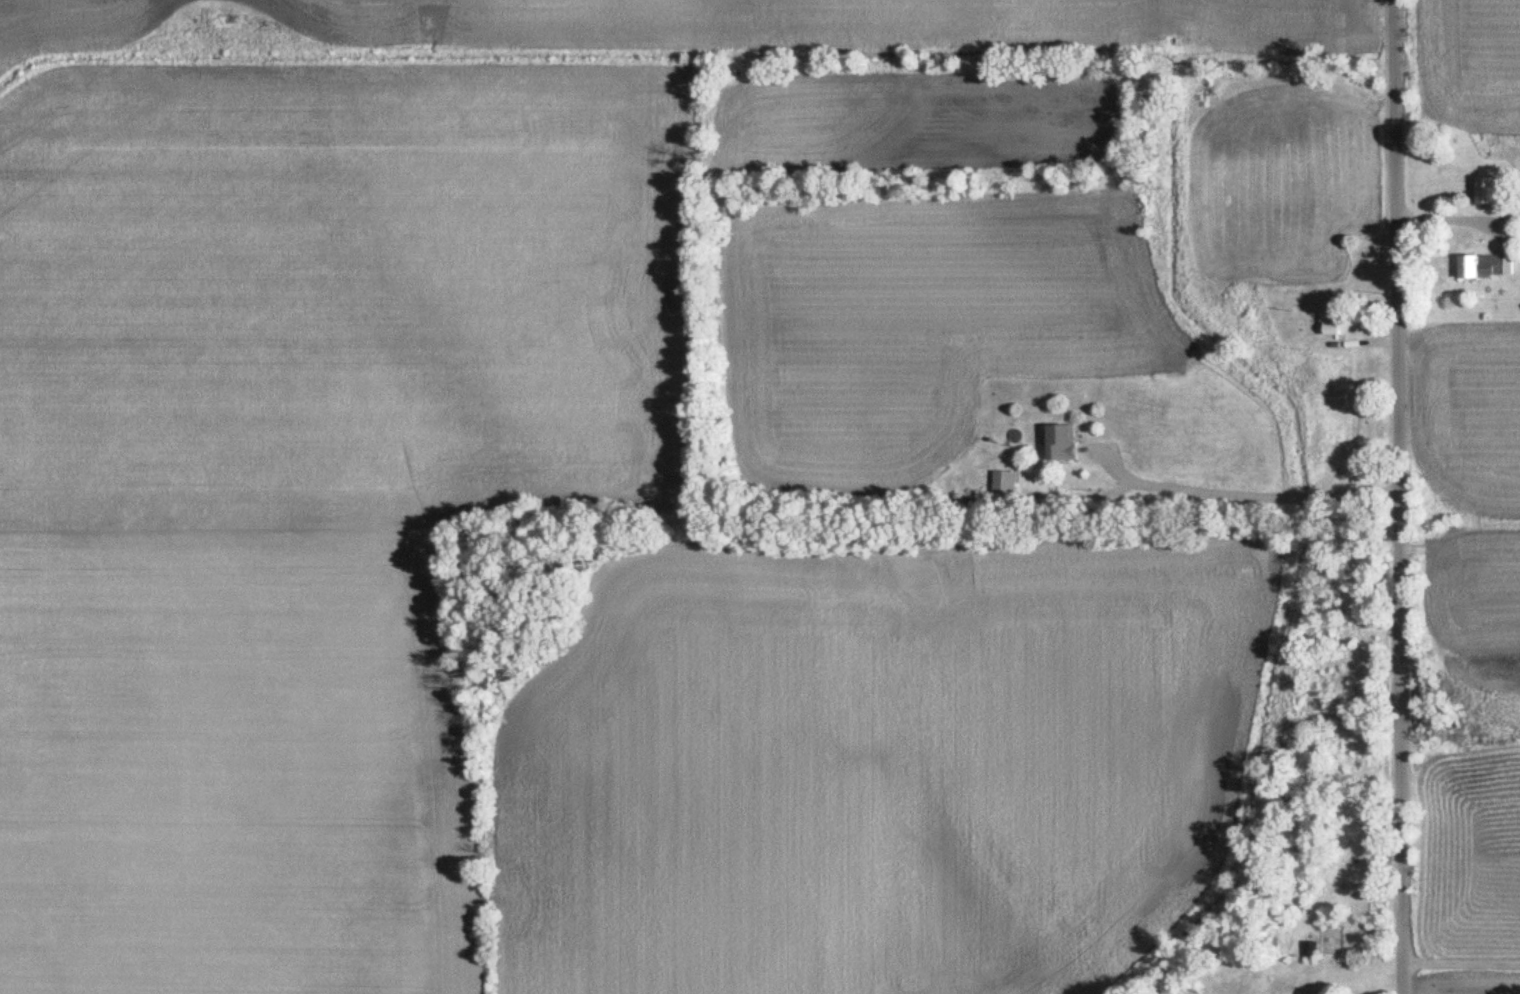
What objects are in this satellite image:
building: (1488, 192)
building: (1487, 267)
building: (1331, 324)
building: (1064, 443)
building: (1005, 486)
road: (1240, 494)
road: (1398, 497)
building: (1310, 950)
road: (1461, 964)

